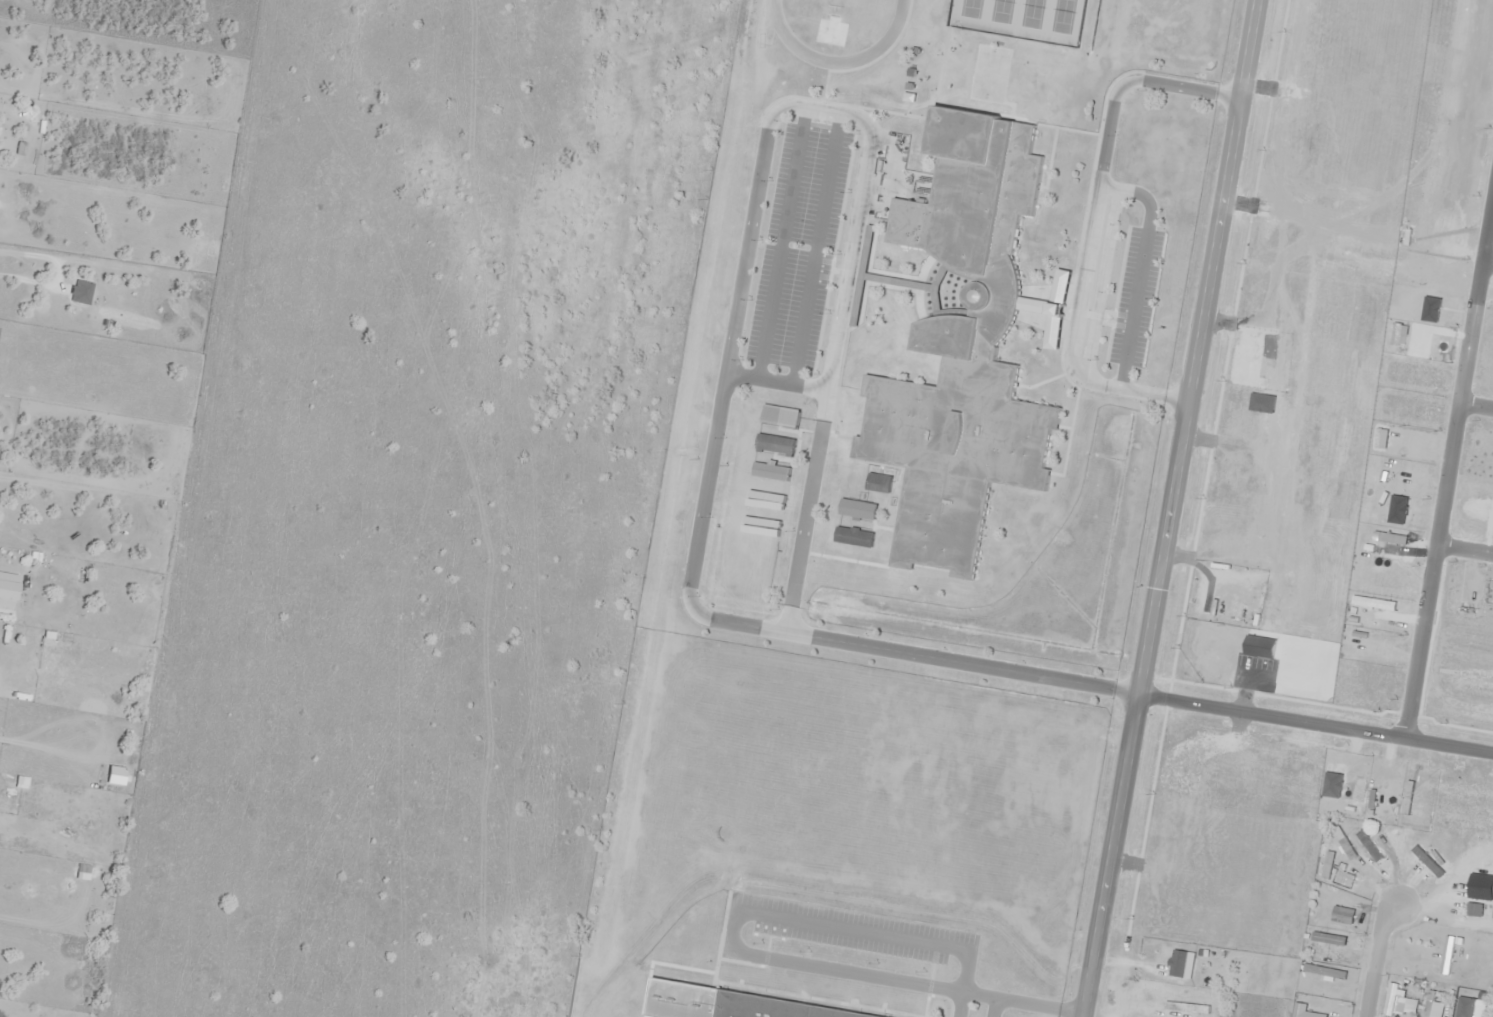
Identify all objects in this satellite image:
road: (1092, 226)
road: (782, 242)
road: (815, 248)
road: (1487, 262)
road: (1140, 267)
road: (741, 278)
building: (965, 350)
road: (776, 381)
road: (1476, 405)
road: (1448, 466)
road: (1167, 508)
road: (1464, 548)
road: (1314, 722)
building: (683, 956)
road: (1374, 956)
building: (786, 980)
building: (678, 986)
building: (836, 988)
building: (777, 1008)

